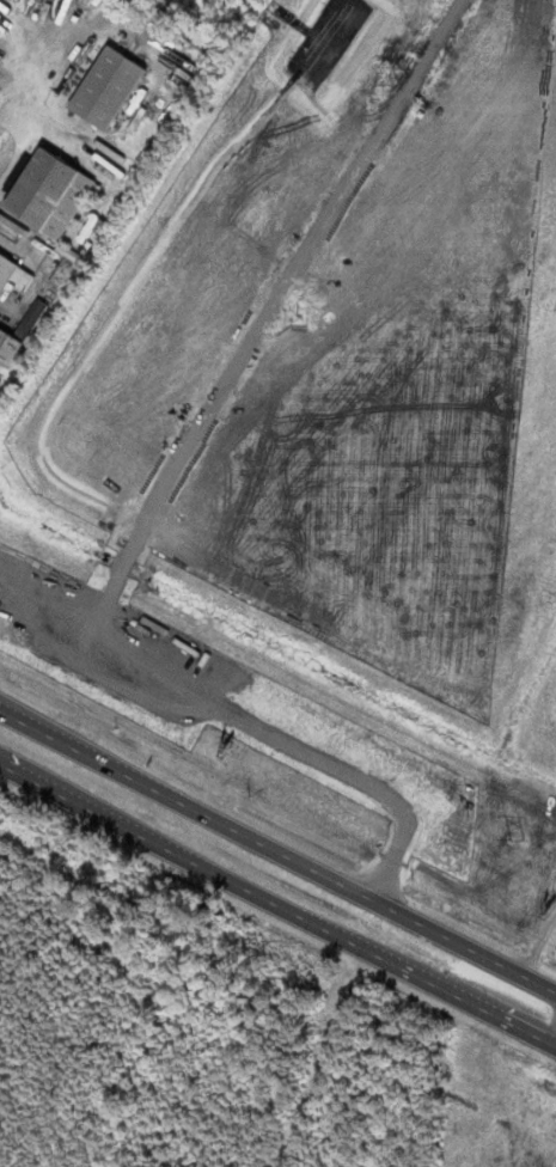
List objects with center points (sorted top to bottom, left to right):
building: (104, 85)
building: (47, 191)
building: (13, 273)
building: (7, 347)
road: (11, 715)
road: (245, 836)
power tower: (513, 839)
road: (240, 887)
building: (277, 973)
road: (524, 977)
road: (519, 1028)
road: (555, 1046)

